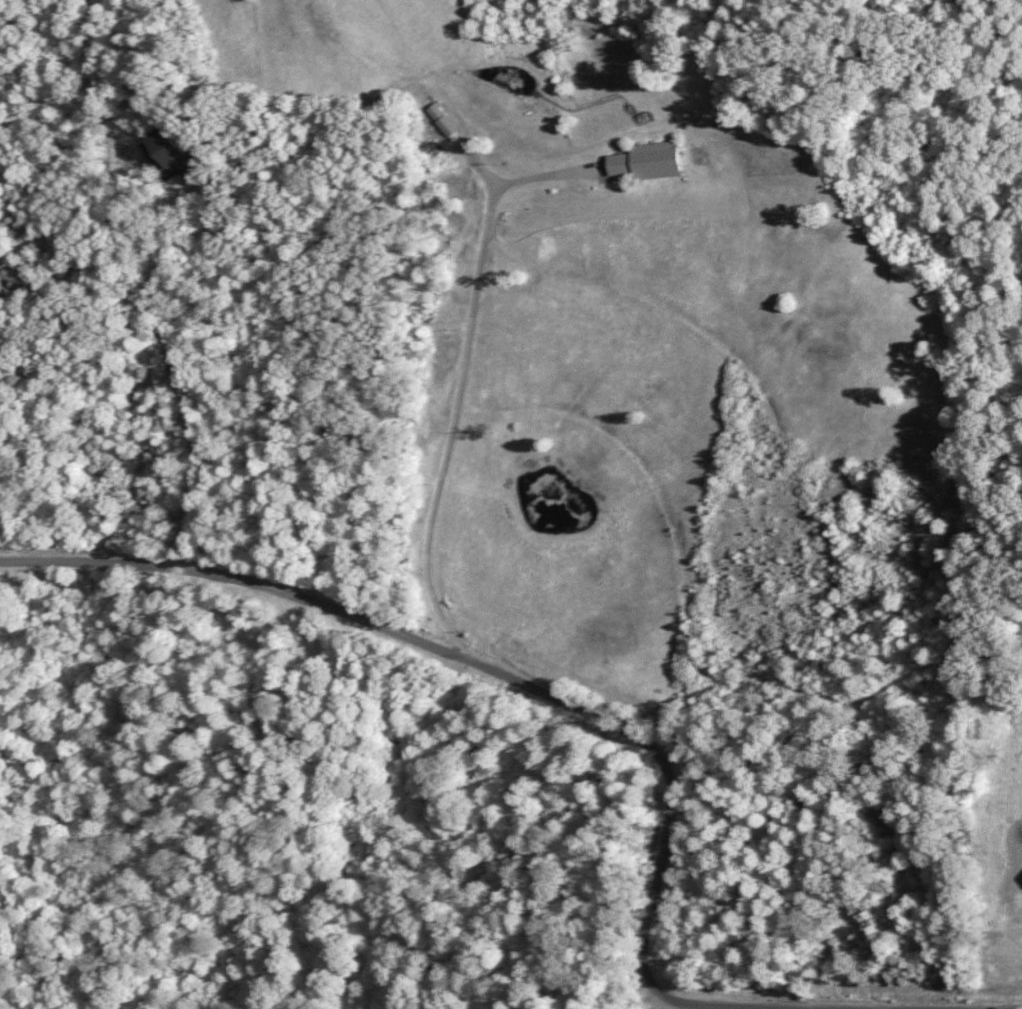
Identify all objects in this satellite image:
building: (431, 113)
building: (166, 153)
building: (642, 160)
building: (18, 277)
road: (460, 375)
road: (538, 689)

